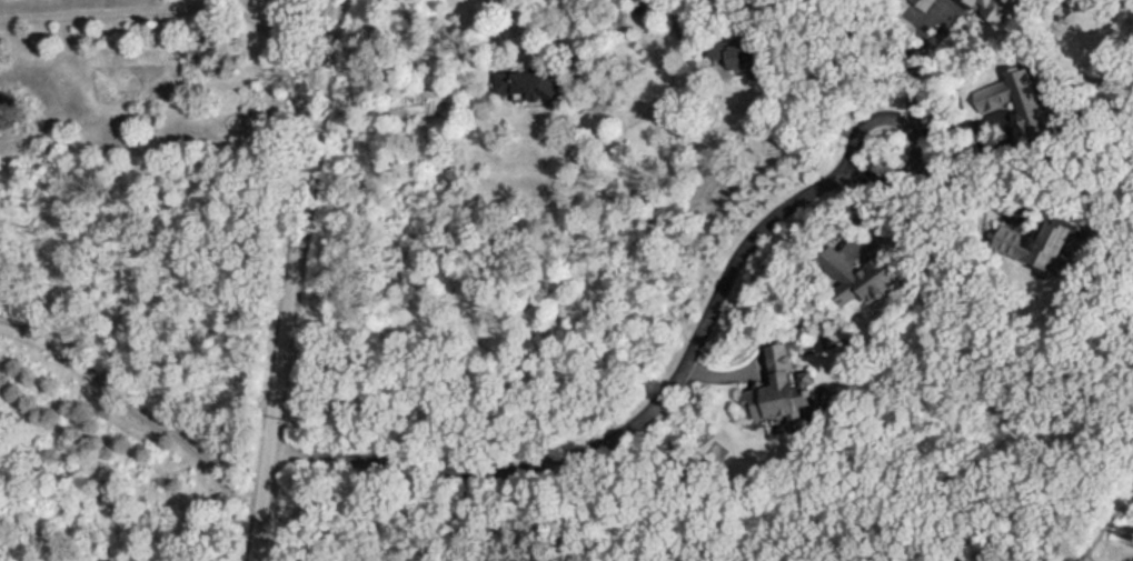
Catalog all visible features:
road: (170, 9)
road: (728, 11)
road: (520, 49)
road: (906, 74)
road: (958, 188)
road: (292, 280)
building: (772, 385)
road: (133, 409)
road: (640, 422)

